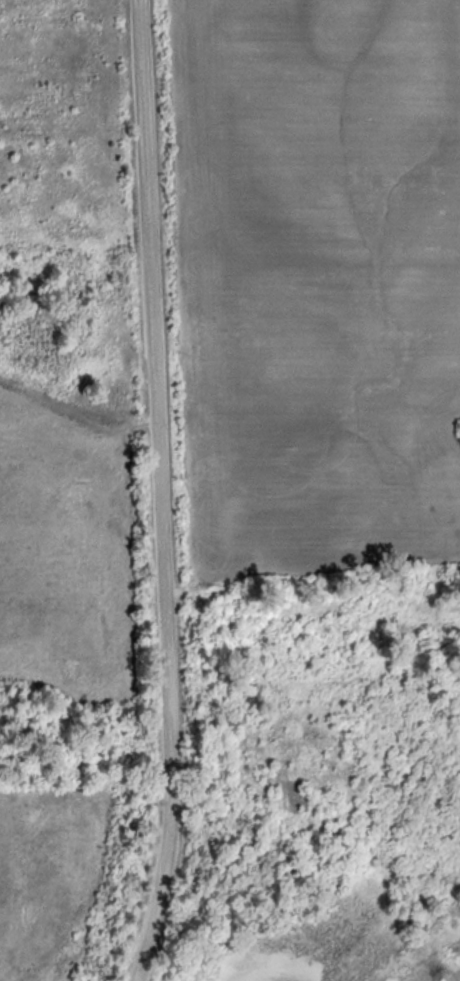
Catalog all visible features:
road: (167, 492)
crop: (65, 544)
crop: (41, 872)

